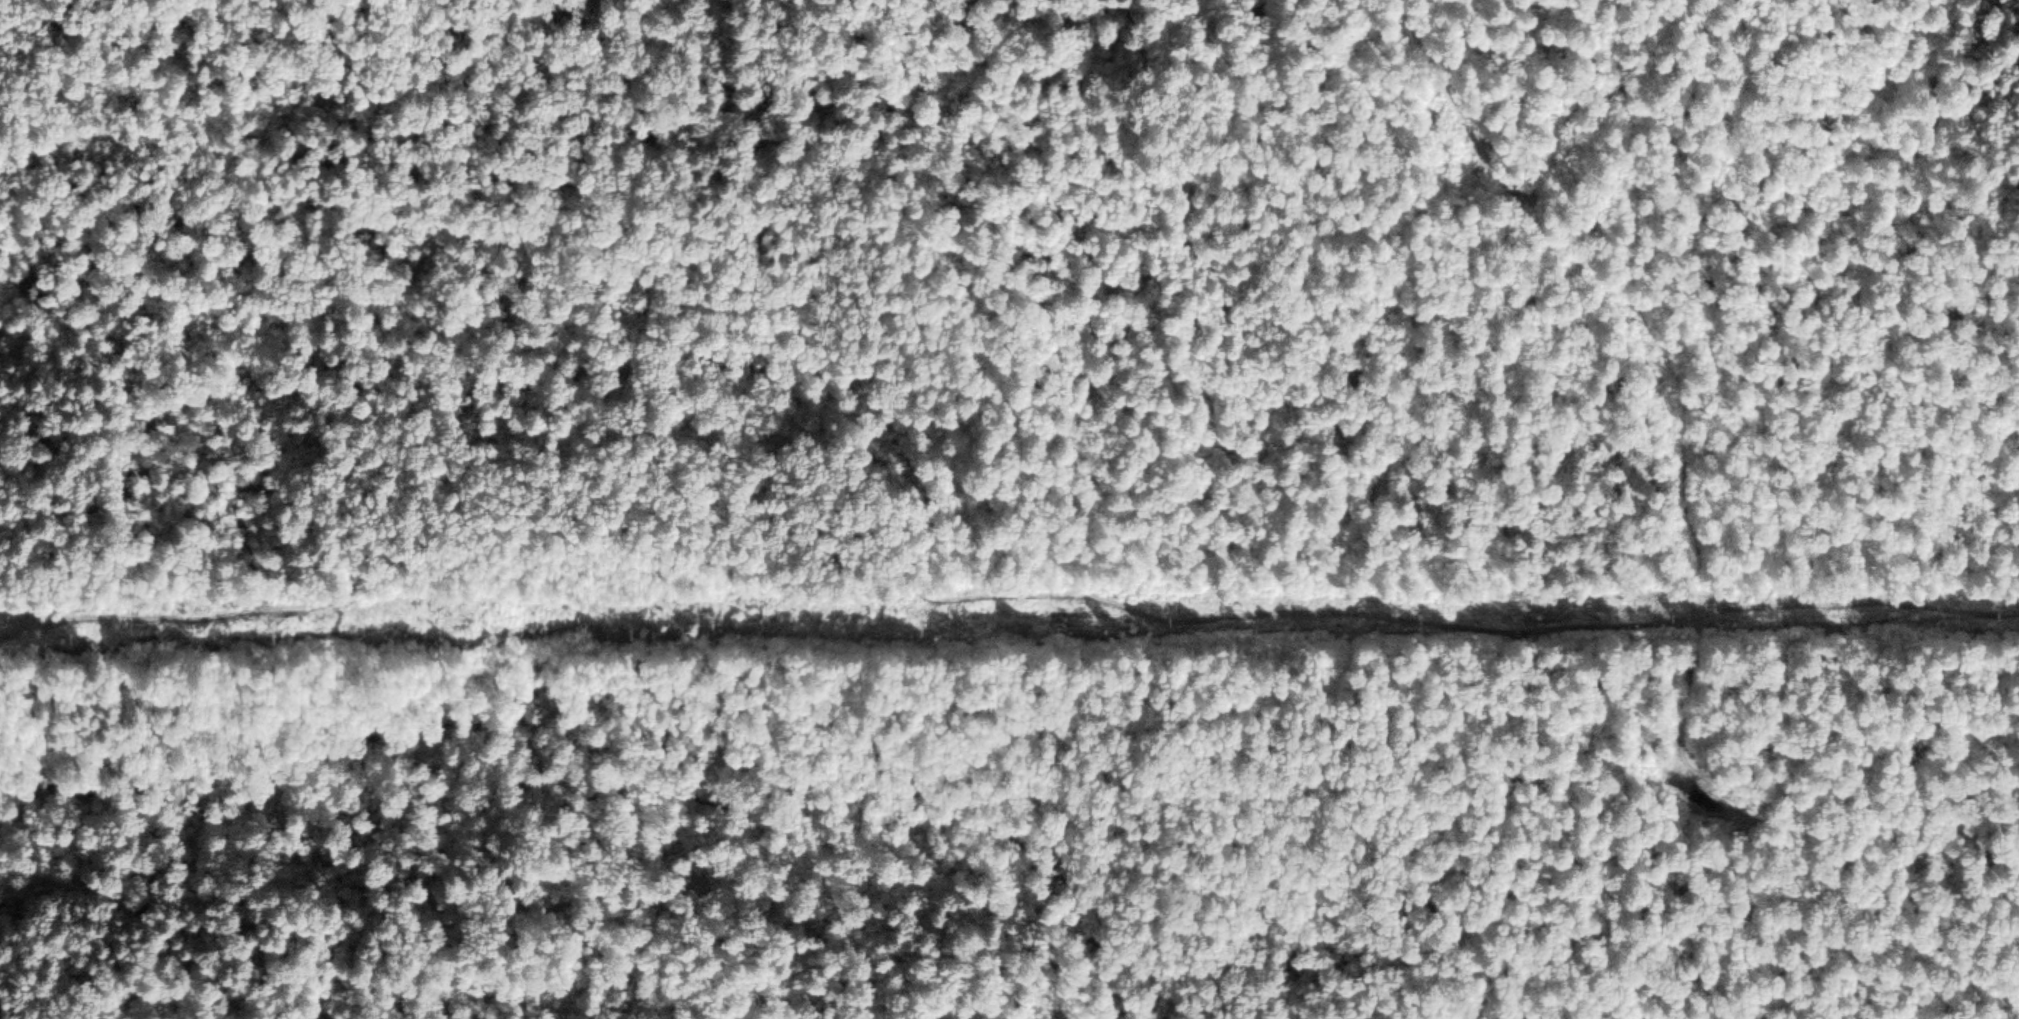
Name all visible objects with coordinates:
power tower: (922, 617)
power tower: (275, 624)

